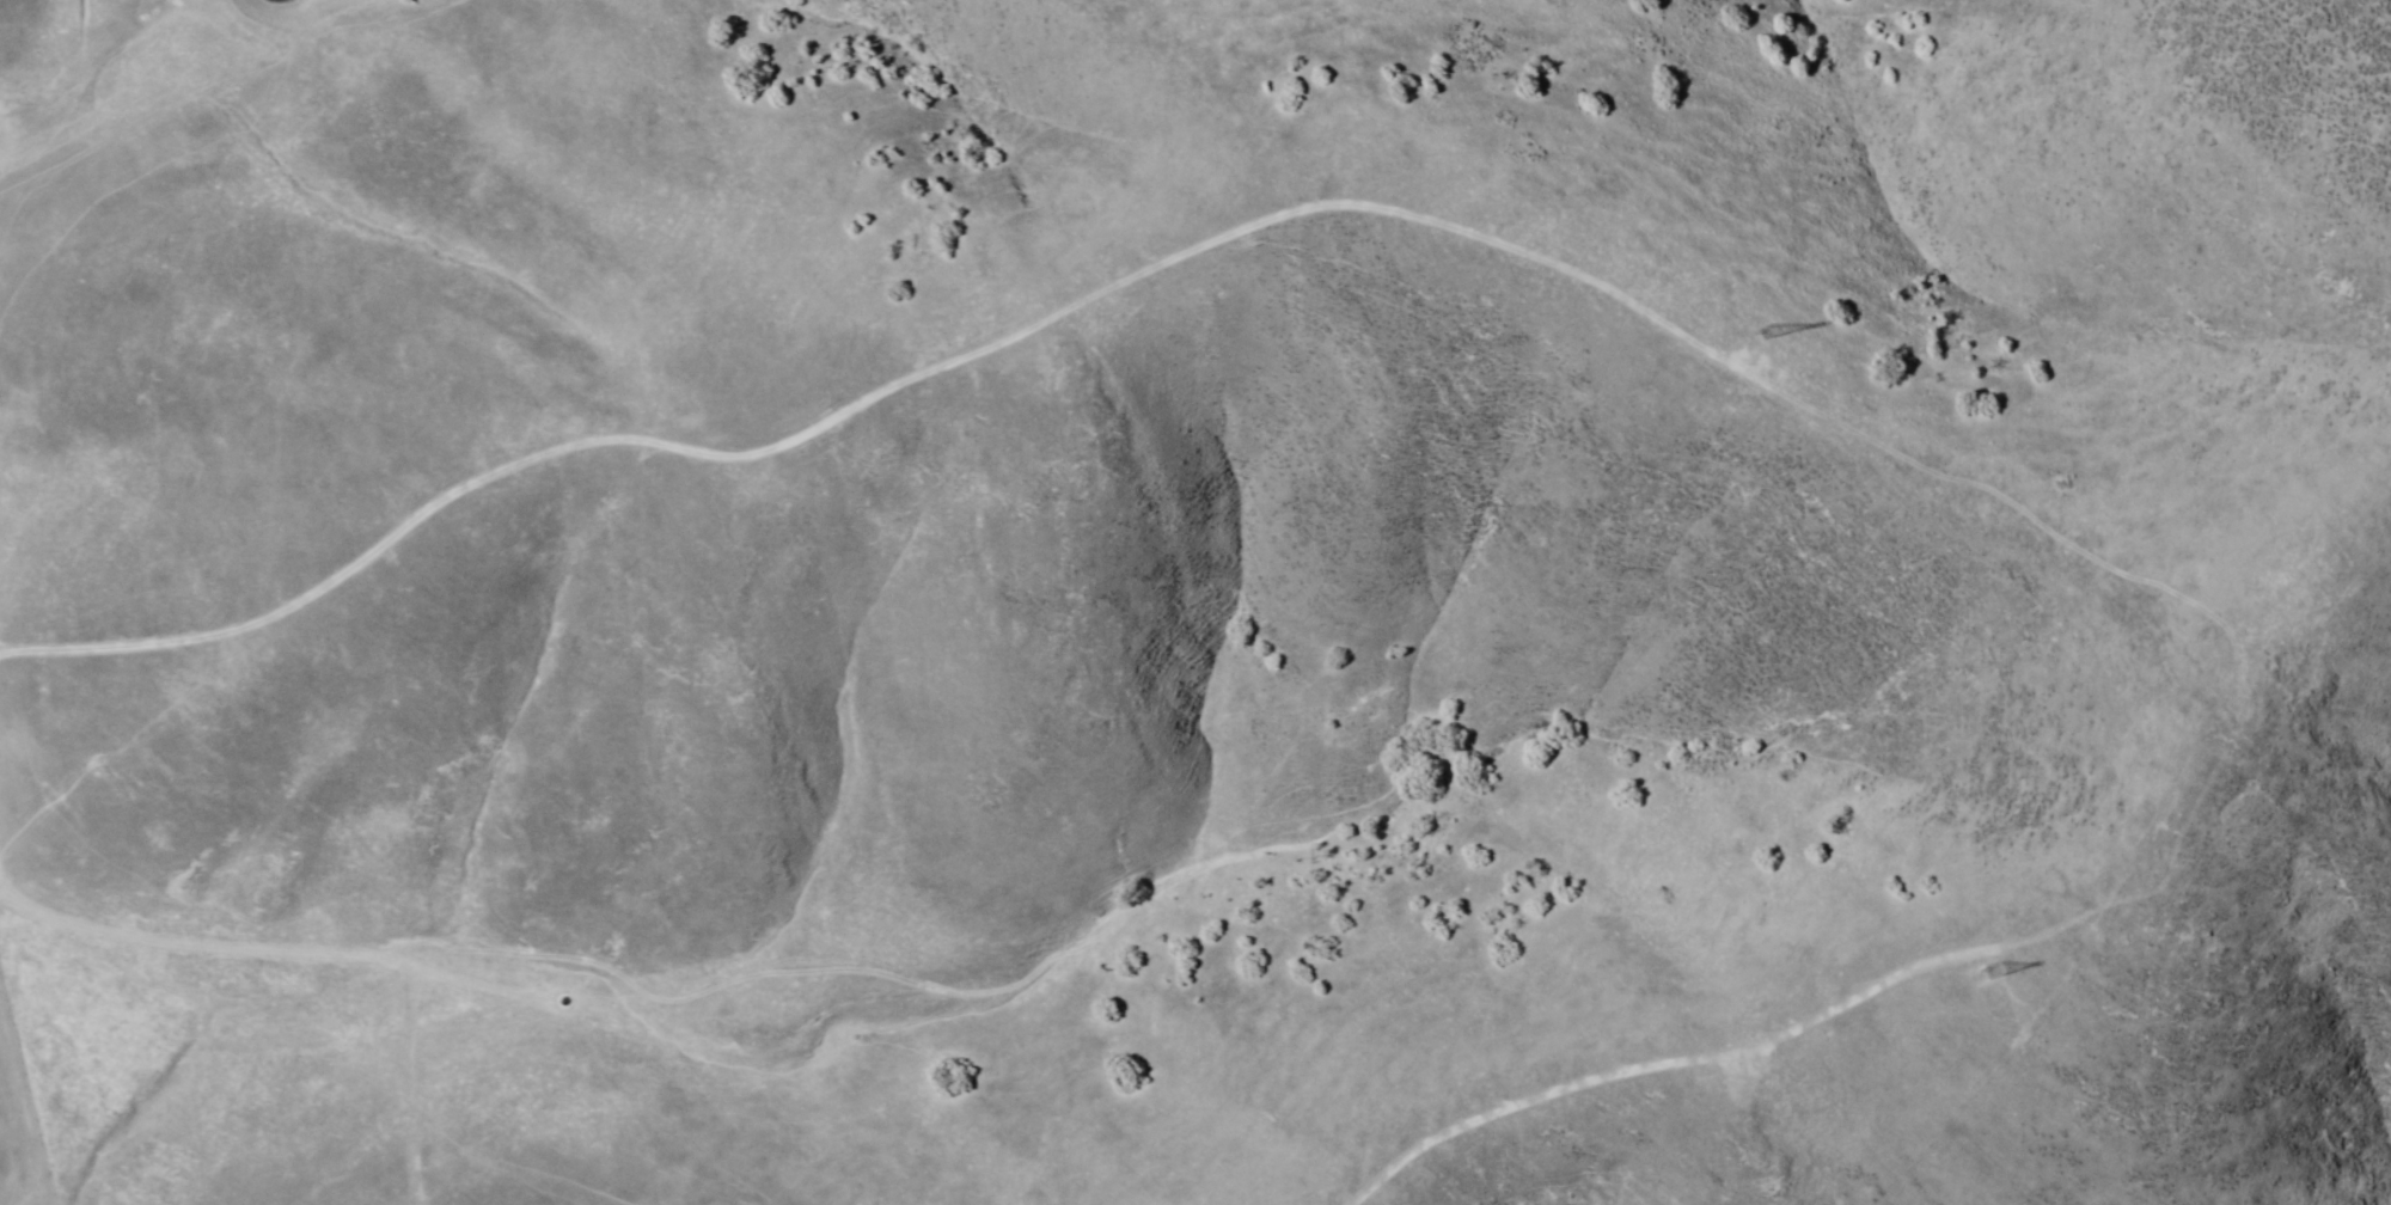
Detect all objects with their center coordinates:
road: (351, 4)
road: (1064, 1032)

